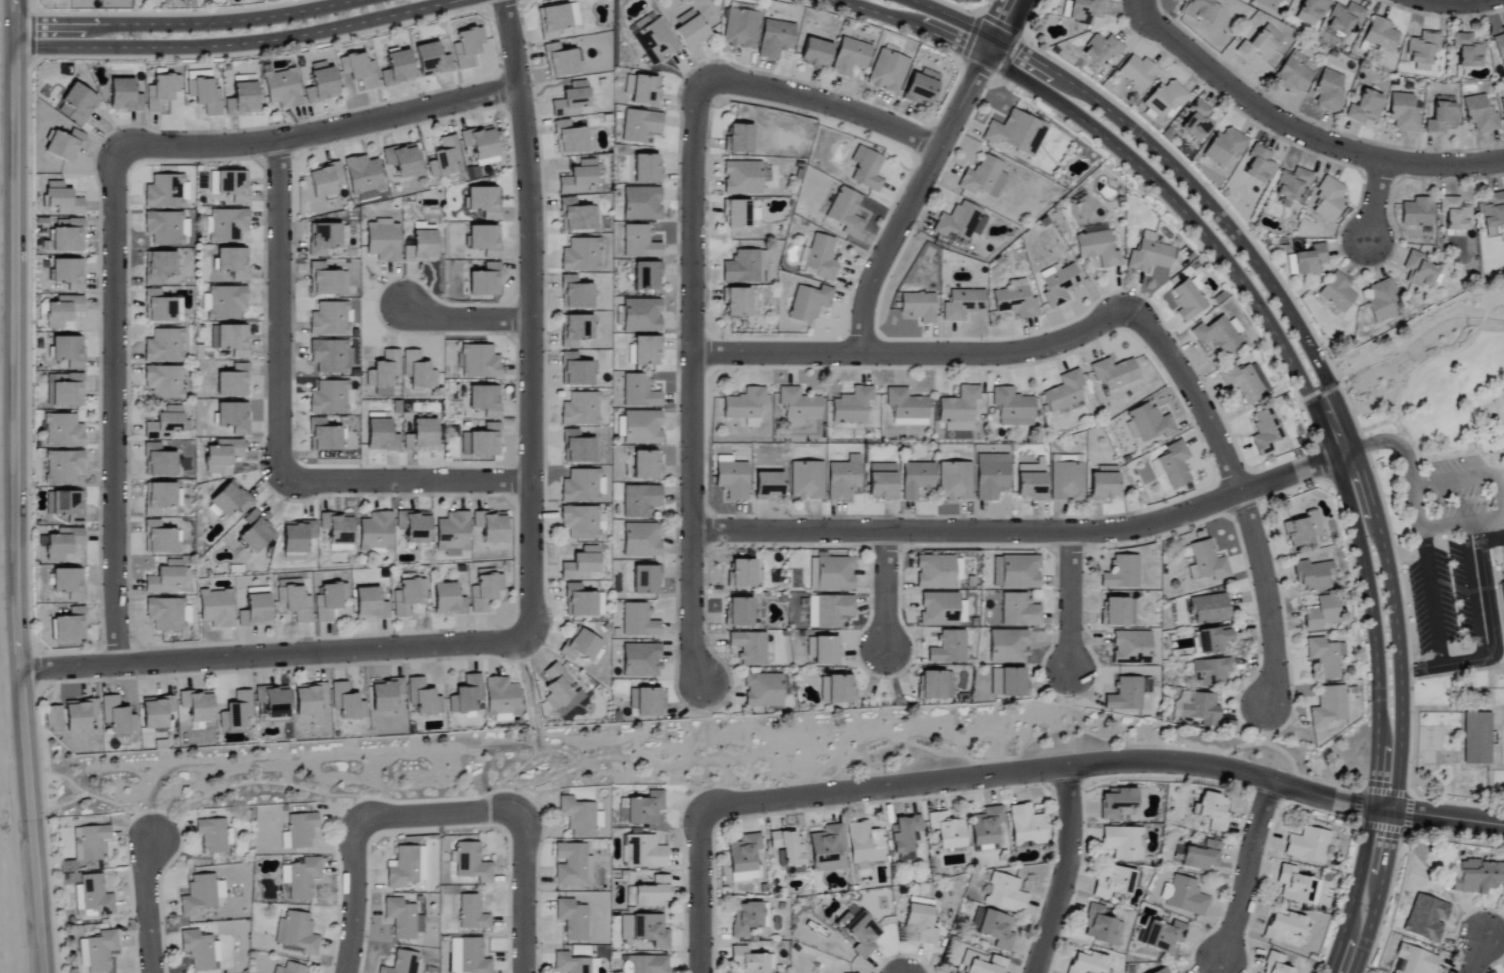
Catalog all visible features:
road: (1451, 2)
building: (1276, 3)
building: (1196, 8)
building: (1085, 11)
building: (1311, 12)
road: (1150, 13)
road: (933, 19)
building: (1344, 19)
building: (556, 20)
road: (1001, 21)
road: (999, 24)
building: (740, 29)
building: (690, 30)
road: (212, 35)
building: (1381, 35)
road: (7, 37)
building: (655, 37)
building: (775, 39)
building: (1499, 44)
building: (1259, 45)
building: (467, 49)
building: (1101, 50)
building: (1468, 51)
building: (1422, 52)
building: (815, 53)
building: (849, 58)
building: (430, 61)
building: (559, 61)
building: (396, 69)
building: (358, 71)
building: (887, 72)
building: (1137, 73)
building: (1292, 77)
building: (320, 83)
building: (920, 88)
building: (281, 89)
building: (642, 90)
building: (1329, 91)
building: (160, 92)
building: (204, 96)
building: (123, 97)
building: (242, 98)
building: (1166, 100)
building: (571, 101)
building: (76, 105)
building: (1502, 106)
building: (1365, 107)
building: (1403, 113)
building: (1479, 114)
building: (1441, 119)
building: (1197, 123)
building: (640, 126)
road: (323, 131)
building: (1015, 133)
road: (1313, 137)
building: (569, 139)
building: (738, 140)
building: (480, 145)
building: (63, 146)
building: (1225, 147)
building: (445, 159)
building: (402, 161)
building: (1260, 166)
building: (646, 169)
building: (867, 169)
building: (363, 178)
building: (984, 178)
building: (579, 179)
building: (742, 179)
building: (322, 180)
building: (232, 186)
building: (1292, 186)
building: (163, 193)
road: (913, 195)
building: (61, 200)
building: (1329, 200)
building: (483, 202)
road: (1373, 202)
building: (641, 204)
building: (845, 212)
building: (1417, 213)
building: (1455, 214)
building: (1492, 214)
building: (736, 215)
building: (576, 217)
building: (961, 222)
building: (227, 226)
building: (67, 236)
building: (323, 239)
building: (382, 241)
building: (485, 241)
building: (639, 243)
building: (421, 248)
building: (1097, 249)
building: (1149, 255)
building: (580, 256)
building: (820, 257)
building: (1310, 261)
road: (693, 264)
building: (230, 266)
building: (158, 267)
building: (745, 267)
building: (1419, 271)
building: (67, 274)
building: (646, 277)
building: (325, 281)
building: (485, 282)
building: (1059, 284)
building: (1337, 293)
building: (575, 294)
building: (1015, 300)
building: (1382, 300)
building: (1187, 301)
road: (1492, 302)
building: (224, 303)
building: (736, 303)
building: (808, 304)
building: (962, 304)
building: (918, 307)
building: (157, 308)
road: (278, 311)
building: (61, 312)
road: (529, 315)
building: (641, 316)
road: (462, 318)
road: (1484, 319)
building: (328, 320)
building: (575, 331)
building: (1218, 336)
building: (230, 340)
building: (163, 347)
building: (68, 352)
building: (647, 352)
road: (918, 353)
building: (329, 357)
building: (479, 363)
building: (384, 370)
building: (575, 371)
building: (417, 372)
building: (1114, 374)
building: (163, 382)
building: (232, 383)
building: (1245, 383)
building: (64, 391)
building: (382, 392)
building: (639, 392)
building: (1065, 392)
building: (330, 399)
building: (484, 402)
road: (113, 406)
building: (745, 406)
building: (852, 406)
building: (798, 407)
building: (907, 408)
building: (1013, 408)
building: (580, 410)
building: (959, 410)
road: (1493, 411)
park: (1436, 415)
building: (233, 418)
road: (1395, 418)
building: (163, 424)
building: (1151, 424)
building: (639, 428)
road: (1368, 430)
building: (1265, 431)
building: (61, 432)
building: (323, 437)
building: (380, 437)
building: (421, 437)
building: (482, 442)
road: (1341, 442)
road: (1406, 445)
building: (576, 448)
building: (221, 455)
road: (1500, 456)
building: (723, 459)
road: (1408, 459)
building: (157, 461)
building: (1173, 466)
building: (62, 467)
building: (645, 467)
road: (1484, 475)
building: (843, 479)
road: (410, 480)
building: (917, 480)
building: (732, 481)
building: (806, 481)
building: (881, 482)
building: (955, 482)
building: (1030, 482)
building: (1066, 482)
building: (1104, 484)
building: (582, 486)
building: (768, 486)
road: (14, 487)
parking lot: (1455, 489)
building: (159, 497)
building: (230, 499)
road: (1241, 500)
building: (639, 501)
building: (65, 505)
building: (582, 522)
road: (1450, 525)
building: (413, 526)
building: (490, 526)
building: (1302, 529)
building: (336, 530)
road: (1024, 530)
building: (255, 531)
building: (375, 531)
building: (452, 533)
building: (296, 536)
building: (159, 538)
building: (641, 540)
road: (1493, 541)
building: (61, 542)
building: (1207, 562)
building: (580, 564)
building: (937, 571)
building: (1015, 572)
building: (1121, 572)
building: (741, 573)
building: (835, 573)
building: (812, 574)
building: (1311, 575)
building: (163, 578)
building: (645, 579)
building: (67, 582)
building: (485, 591)
road: (885, 591)
road: (1472, 591)
building: (1502, 592)
building: (406, 596)
road: (1432, 597)
building: (293, 599)
parking lot: (1442, 599)
building: (329, 600)
building: (446, 600)
building: (582, 601)
road: (1070, 602)
building: (369, 604)
building: (215, 608)
building: (1208, 608)
building: (254, 609)
building: (942, 609)
building: (1019, 610)
building: (738, 611)
building: (829, 611)
building: (1118, 611)
building: (1321, 613)
building: (166, 614)
building: (637, 621)
building: (69, 625)
building: (1213, 639)
road: (1495, 642)
building: (580, 645)
building: (749, 647)
building: (948, 647)
building: (1008, 647)
building: (1131, 648)
building: (827, 650)
road: (274, 655)
building: (1325, 657)
building: (640, 660)
building: (1210, 671)
building: (1008, 682)
building: (935, 685)
building: (837, 689)
building: (763, 690)
building: (560, 691)
building: (1128, 694)
building: (383, 695)
road: (527, 697)
building: (423, 698)
building: (466, 698)
building: (307, 699)
building: (501, 699)
building: (646, 701)
building: (272, 702)
building: (346, 702)
road: (1070, 702)
building: (196, 705)
building: (1330, 706)
building: (1202, 709)
building: (155, 711)
building: (236, 711)
building: (78, 714)
building: (53, 718)
building: (116, 718)
road: (707, 722)
road: (1265, 727)
building: (1477, 738)
road: (534, 756)
park: (647, 757)
road: (732, 757)
road: (1106, 763)
road: (809, 788)
road: (81, 792)
road: (497, 801)
building: (1116, 803)
road: (1456, 803)
building: (644, 809)
building: (1213, 811)
building: (578, 817)
road: (361, 821)
road: (153, 825)
building: (986, 826)
building: (1026, 826)
road: (1404, 829)
building: (946, 830)
building: (298, 831)
road: (1454, 834)
building: (212, 835)
building: (905, 836)
building: (89, 842)
building: (1123, 842)
building: (864, 843)
building: (1308, 845)
building: (826, 848)
building: (789, 850)
building: (643, 852)
building: (1202, 857)
building: (743, 858)
building: (471, 863)
building: (571, 864)
building: (406, 867)
road: (1247, 869)
road: (1065, 872)
building: (1477, 877)
building: (300, 878)
building: (1114, 883)
building: (653, 892)
road: (698, 892)
road: (520, 893)
building: (199, 894)
building: (1005, 894)
building: (93, 896)
building: (1184, 896)
road: (146, 905)
building: (471, 913)
building: (400, 918)
building: (747, 918)
building: (573, 920)
building: (920, 921)
building: (1283, 926)
building: (1101, 927)
building: (993, 928)
building: (649, 930)
building: (296, 932)
building: (862, 934)
building: (1164, 936)
building: (199, 950)
building: (97, 951)
road: (1476, 955)
building: (468, 956)
building: (1415, 960)
building: (746, 961)
building: (1087, 962)
building: (401, 963)
building: (981, 963)
building: (570, 964)
building: (645, 964)
building: (1275, 964)
building: (290, 968)
building: (1162, 970)

